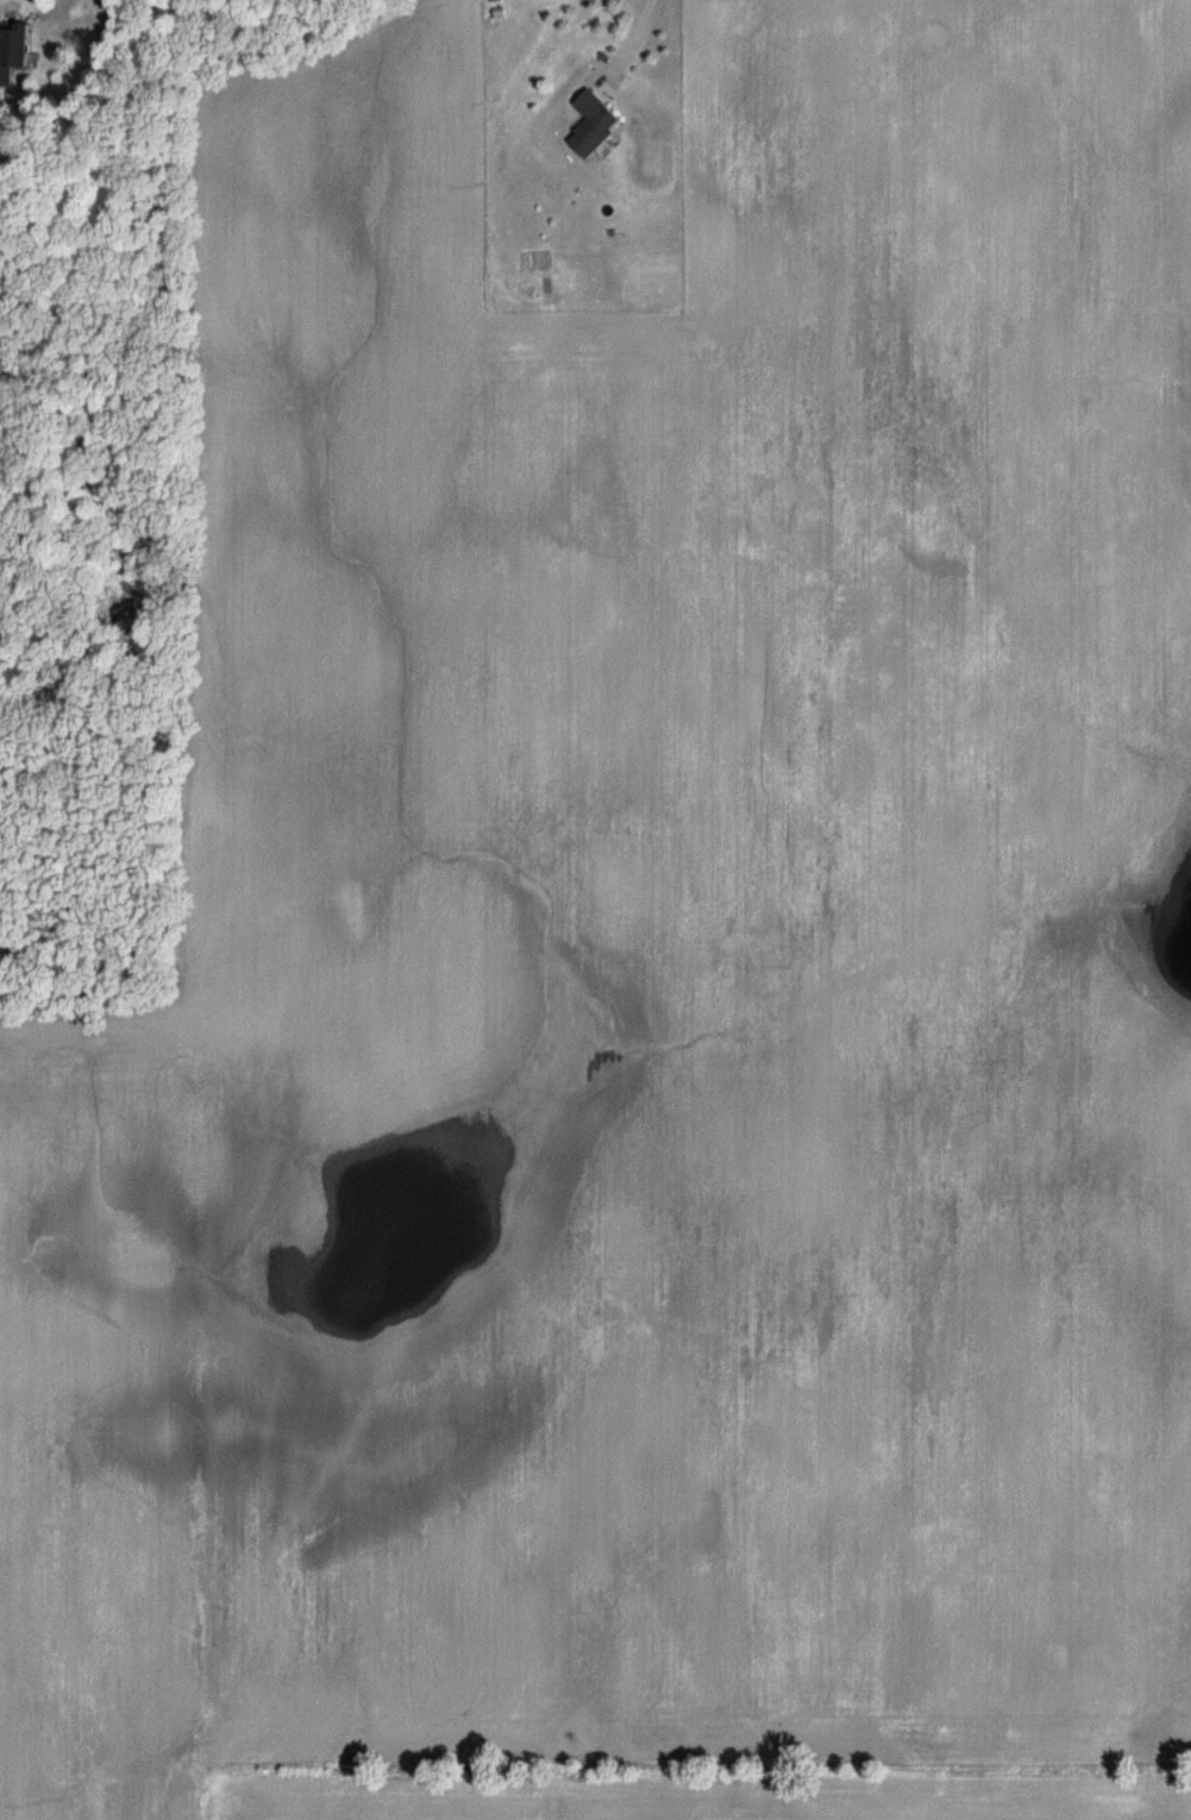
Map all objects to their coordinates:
road: (631, 43)
building: (13, 51)
building: (594, 125)

